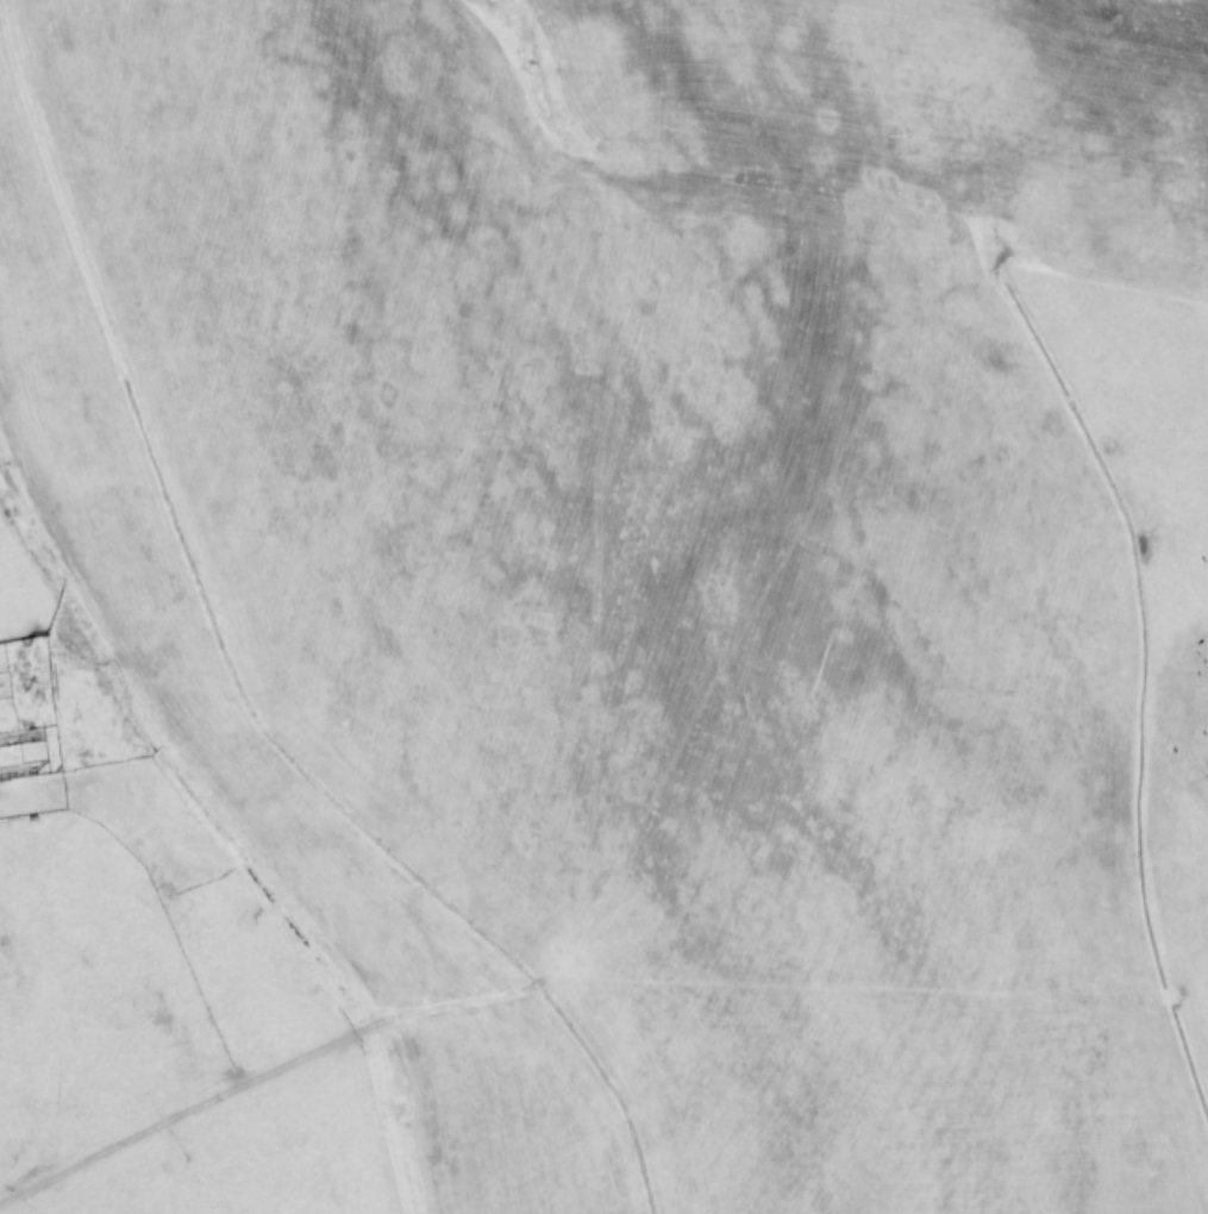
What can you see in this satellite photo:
road: (324, 1057)

